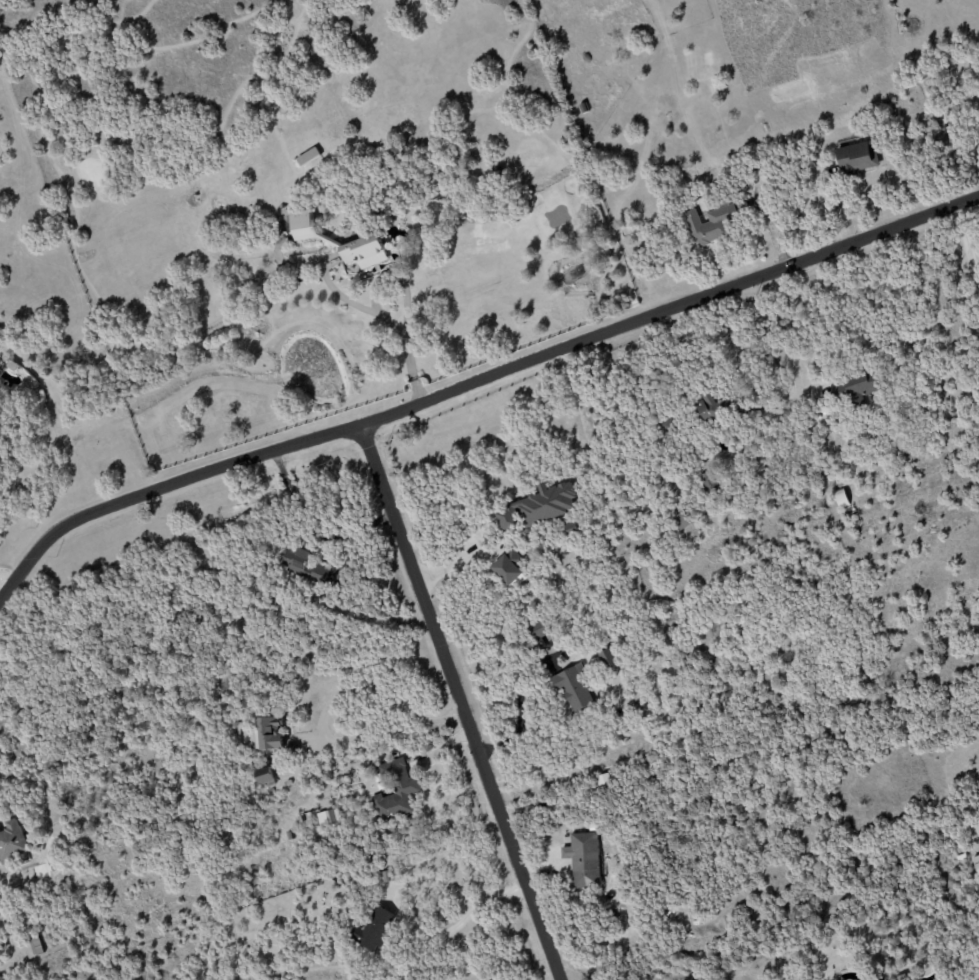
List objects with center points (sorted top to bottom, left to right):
building: (308, 157)
building: (857, 157)
building: (713, 224)
building: (302, 225)
building: (364, 251)
road: (385, 318)
road: (782, 335)
road: (477, 380)
building: (853, 386)
building: (708, 408)
building: (708, 482)
building: (841, 499)
building: (538, 507)
building: (680, 521)
road: (310, 529)
building: (300, 565)
building: (508, 566)
road: (2, 586)
building: (536, 633)
building: (607, 657)
building: (574, 687)
road: (460, 701)
building: (269, 734)
road: (344, 739)
building: (395, 790)
building: (328, 816)
building: (11, 839)
building: (583, 859)
building: (976, 863)
road: (410, 881)
building: (1, 902)
building: (373, 928)
building: (35, 945)
building: (959, 979)

